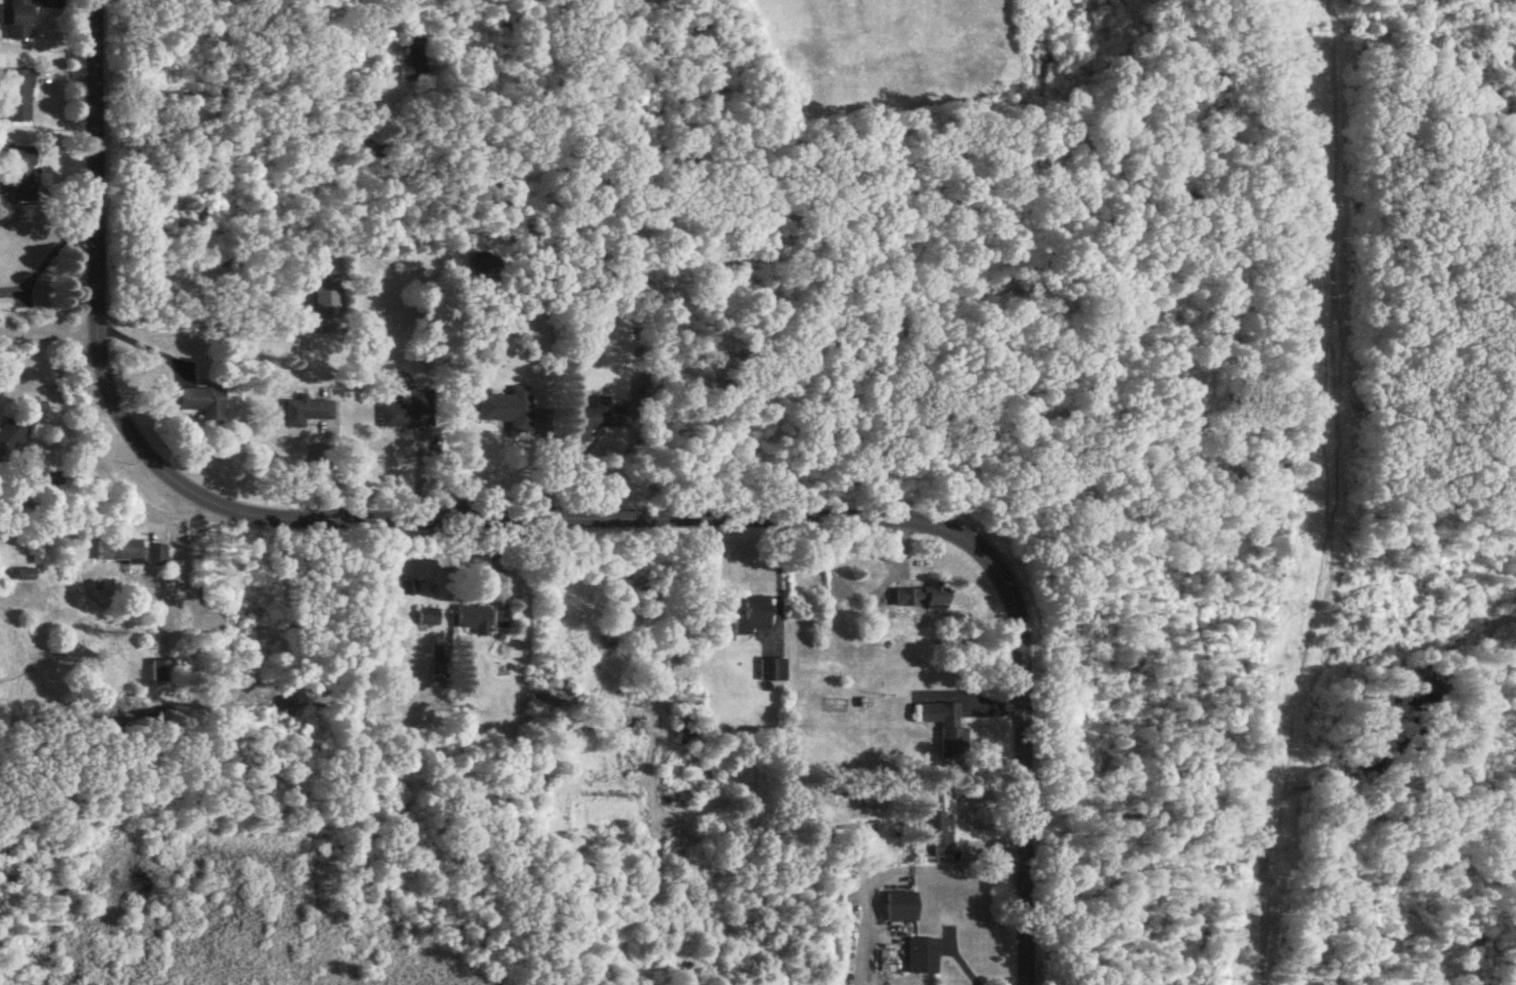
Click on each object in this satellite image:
building: (19, 20)
building: (413, 59)
building: (17, 97)
building: (364, 151)
building: (20, 174)
building: (193, 215)
building: (325, 296)
road: (49, 336)
road: (149, 345)
building: (204, 406)
building: (507, 410)
building: (409, 412)
building: (305, 413)
building: (593, 420)
building: (10, 437)
road: (87, 458)
road: (542, 468)
road: (138, 503)
road: (541, 523)
building: (120, 550)
building: (155, 555)
building: (26, 575)
road: (779, 580)
building: (920, 598)
building: (428, 617)
building: (501, 617)
building: (473, 619)
building: (752, 619)
building: (160, 671)
building: (773, 671)
building: (684, 731)
building: (950, 734)
building: (938, 834)
building: (898, 907)
building: (919, 957)

